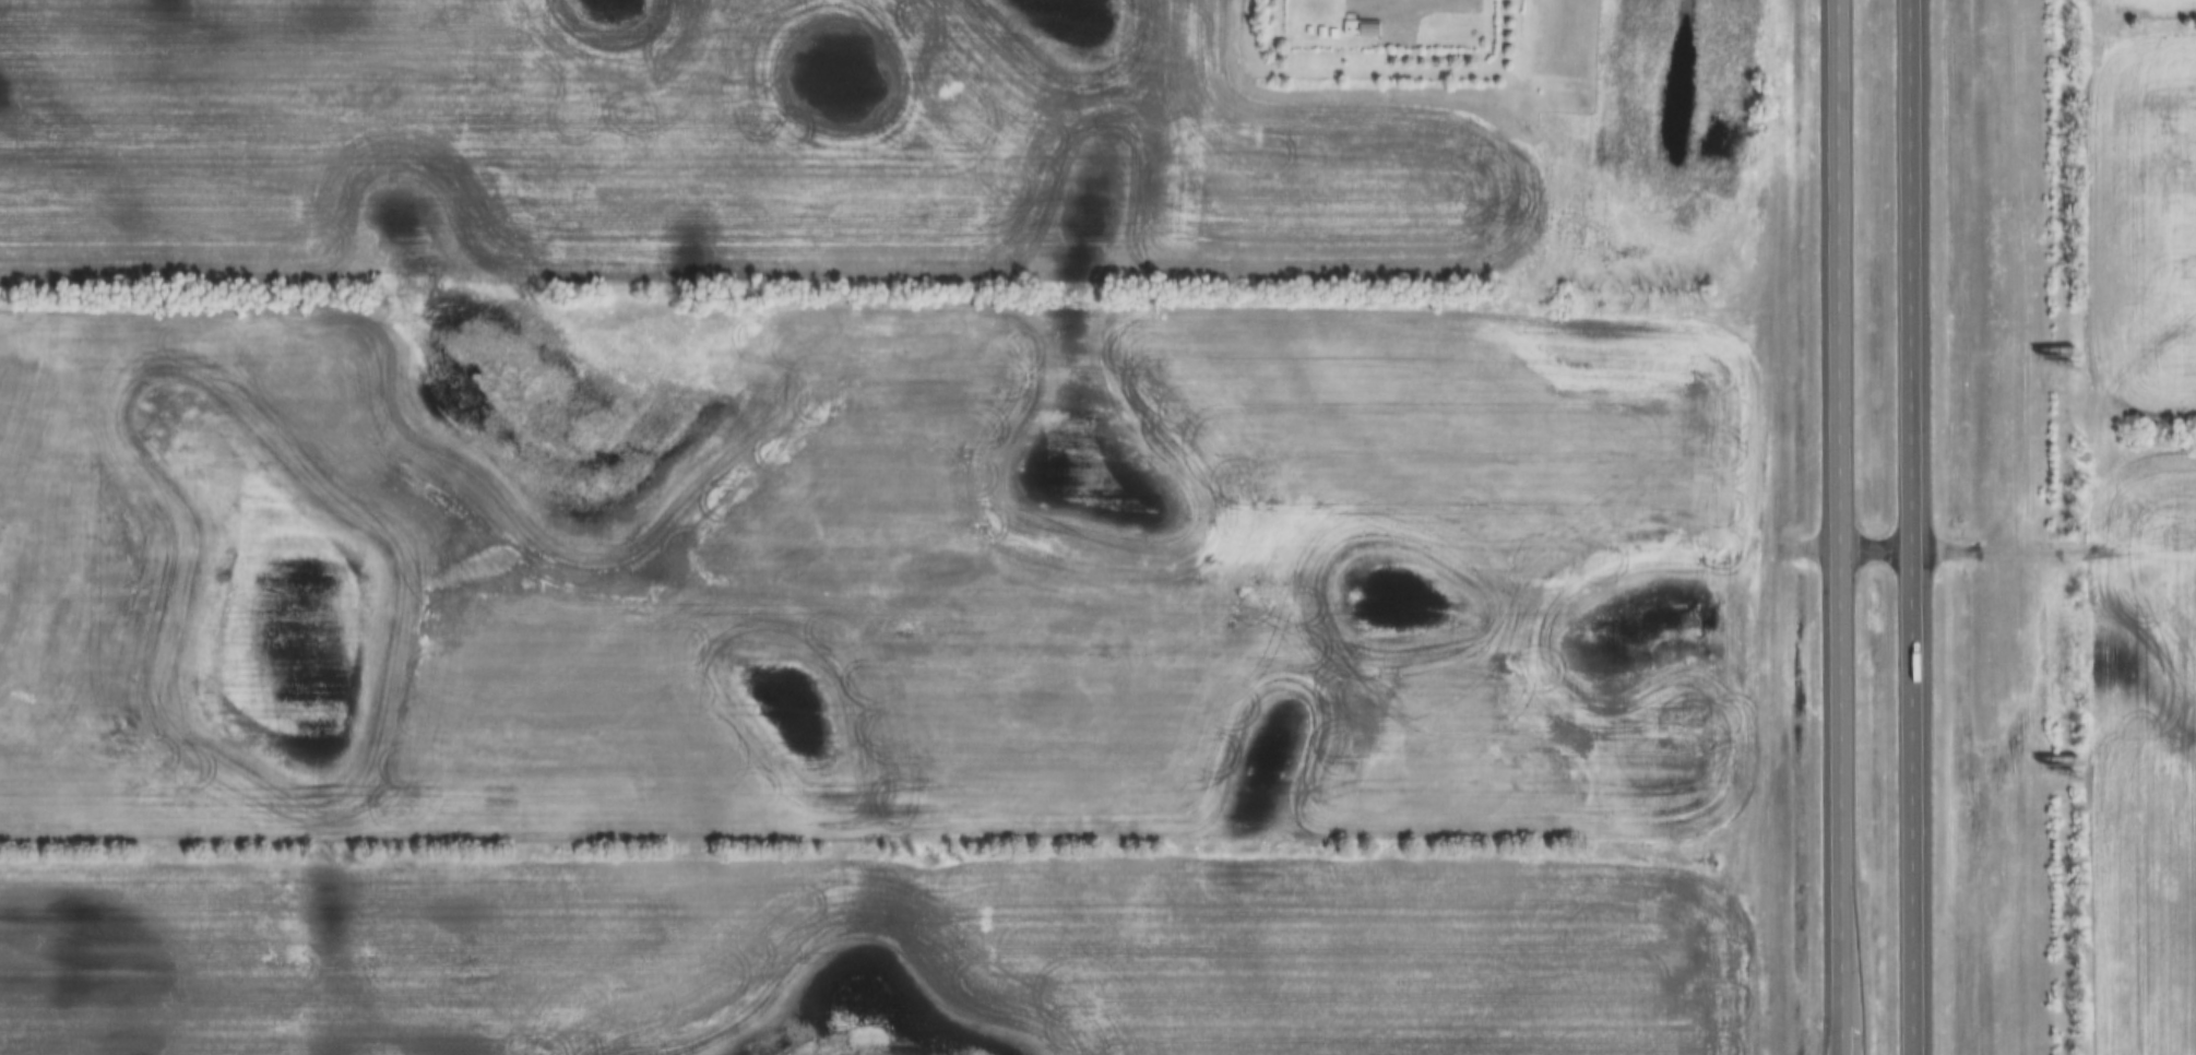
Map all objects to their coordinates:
building: (1384, 0)
building: (1360, 27)
road: (1915, 526)
road: (2096, 526)
road: (1842, 527)
road: (2056, 544)

